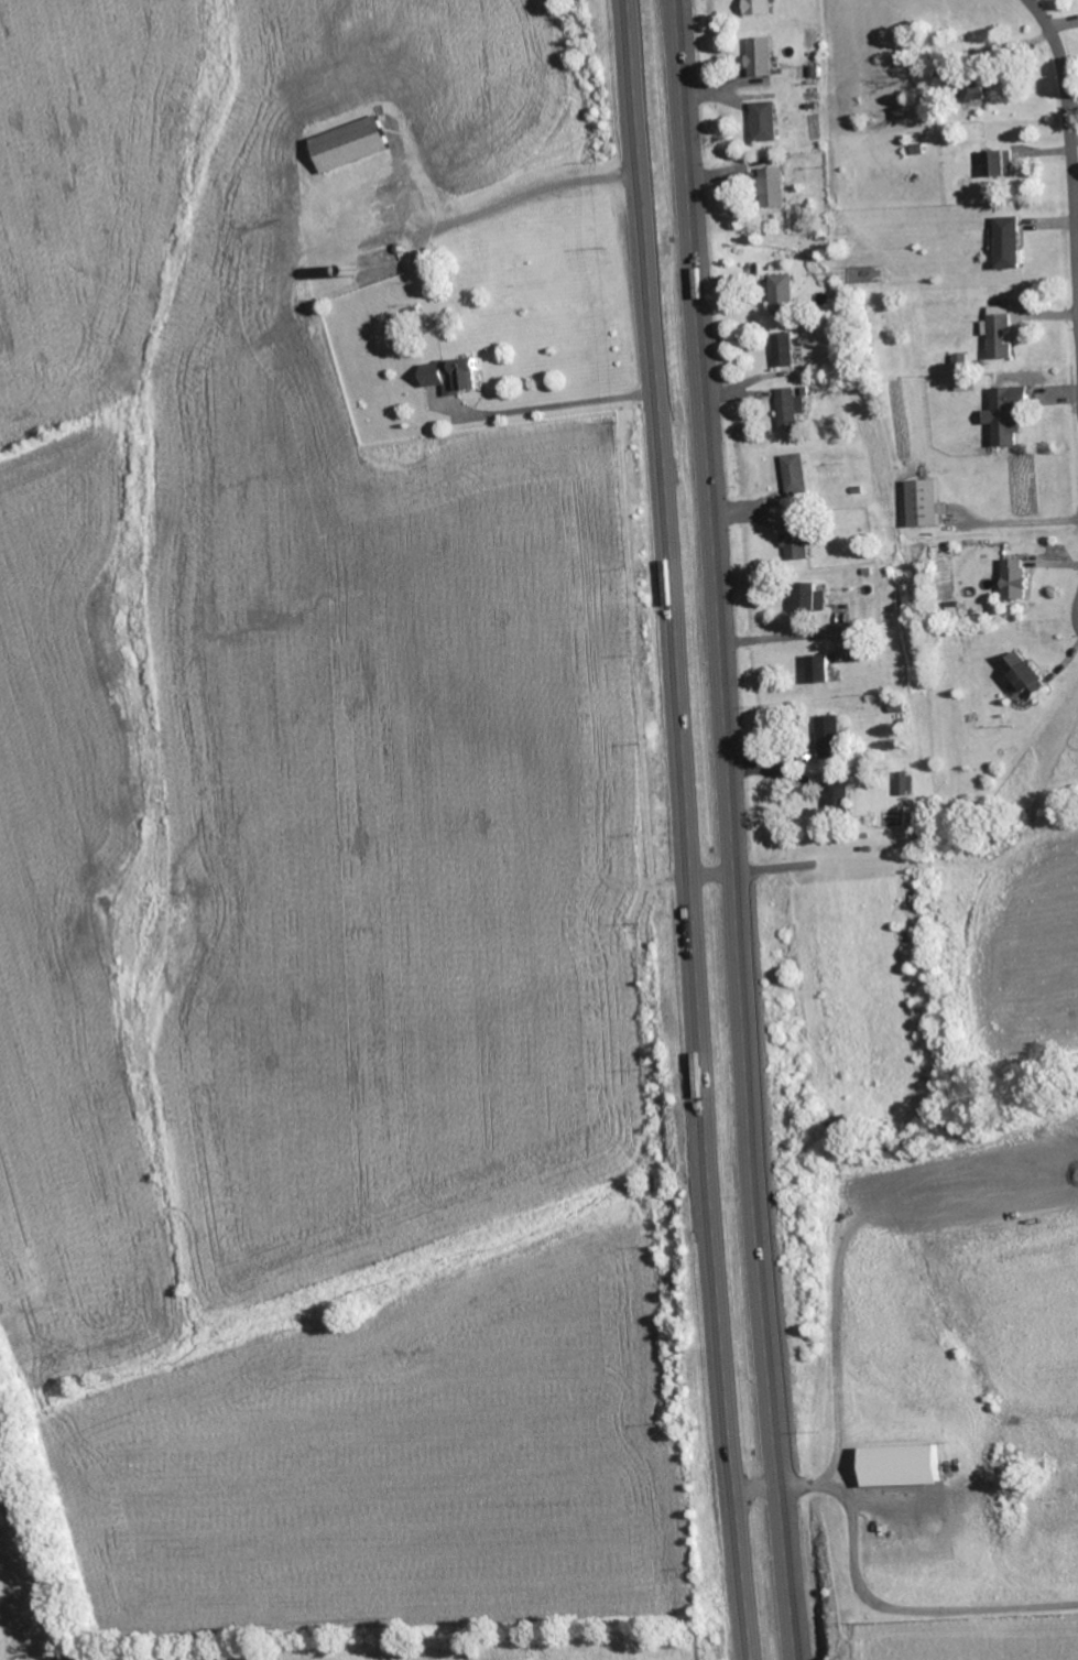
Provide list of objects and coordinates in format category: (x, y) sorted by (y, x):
building: (761, 8)
building: (764, 58)
building: (981, 94)
road: (1070, 117)
building: (769, 123)
building: (356, 145)
building: (1003, 165)
building: (775, 189)
road: (529, 195)
building: (1012, 245)
building: (783, 295)
building: (1003, 334)
building: (785, 351)
building: (459, 377)
road: (559, 406)
building: (794, 411)
building: (1011, 415)
building: (801, 476)
building: (928, 506)
building: (801, 542)
building: (1019, 581)
building: (815, 600)
building: (825, 671)
building: (1031, 677)
building: (832, 740)
building: (907, 786)
building: (840, 795)
road: (689, 829)
road: (736, 829)
building: (908, 1467)
road: (867, 1599)

